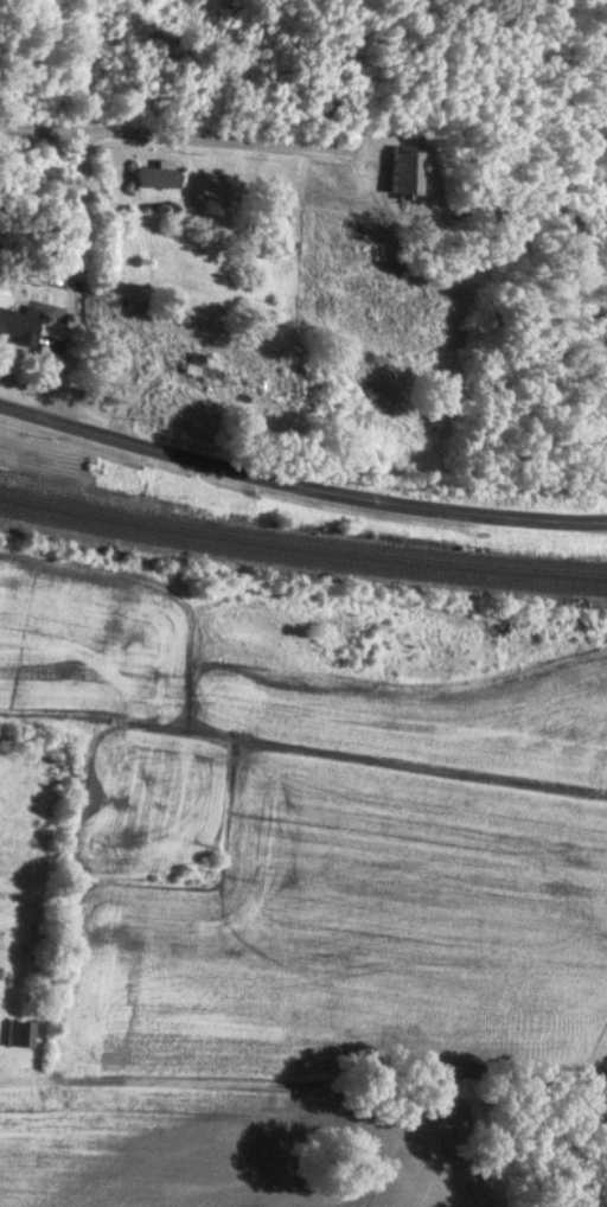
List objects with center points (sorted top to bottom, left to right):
road: (353, 45)
building: (152, 98)
building: (322, 109)
road: (207, 145)
building: (404, 171)
building: (156, 178)
road: (77, 211)
building: (19, 326)
building: (388, 363)
building: (203, 371)
road: (299, 488)
railway: (301, 547)
railway: (301, 557)
building: (18, 1035)

